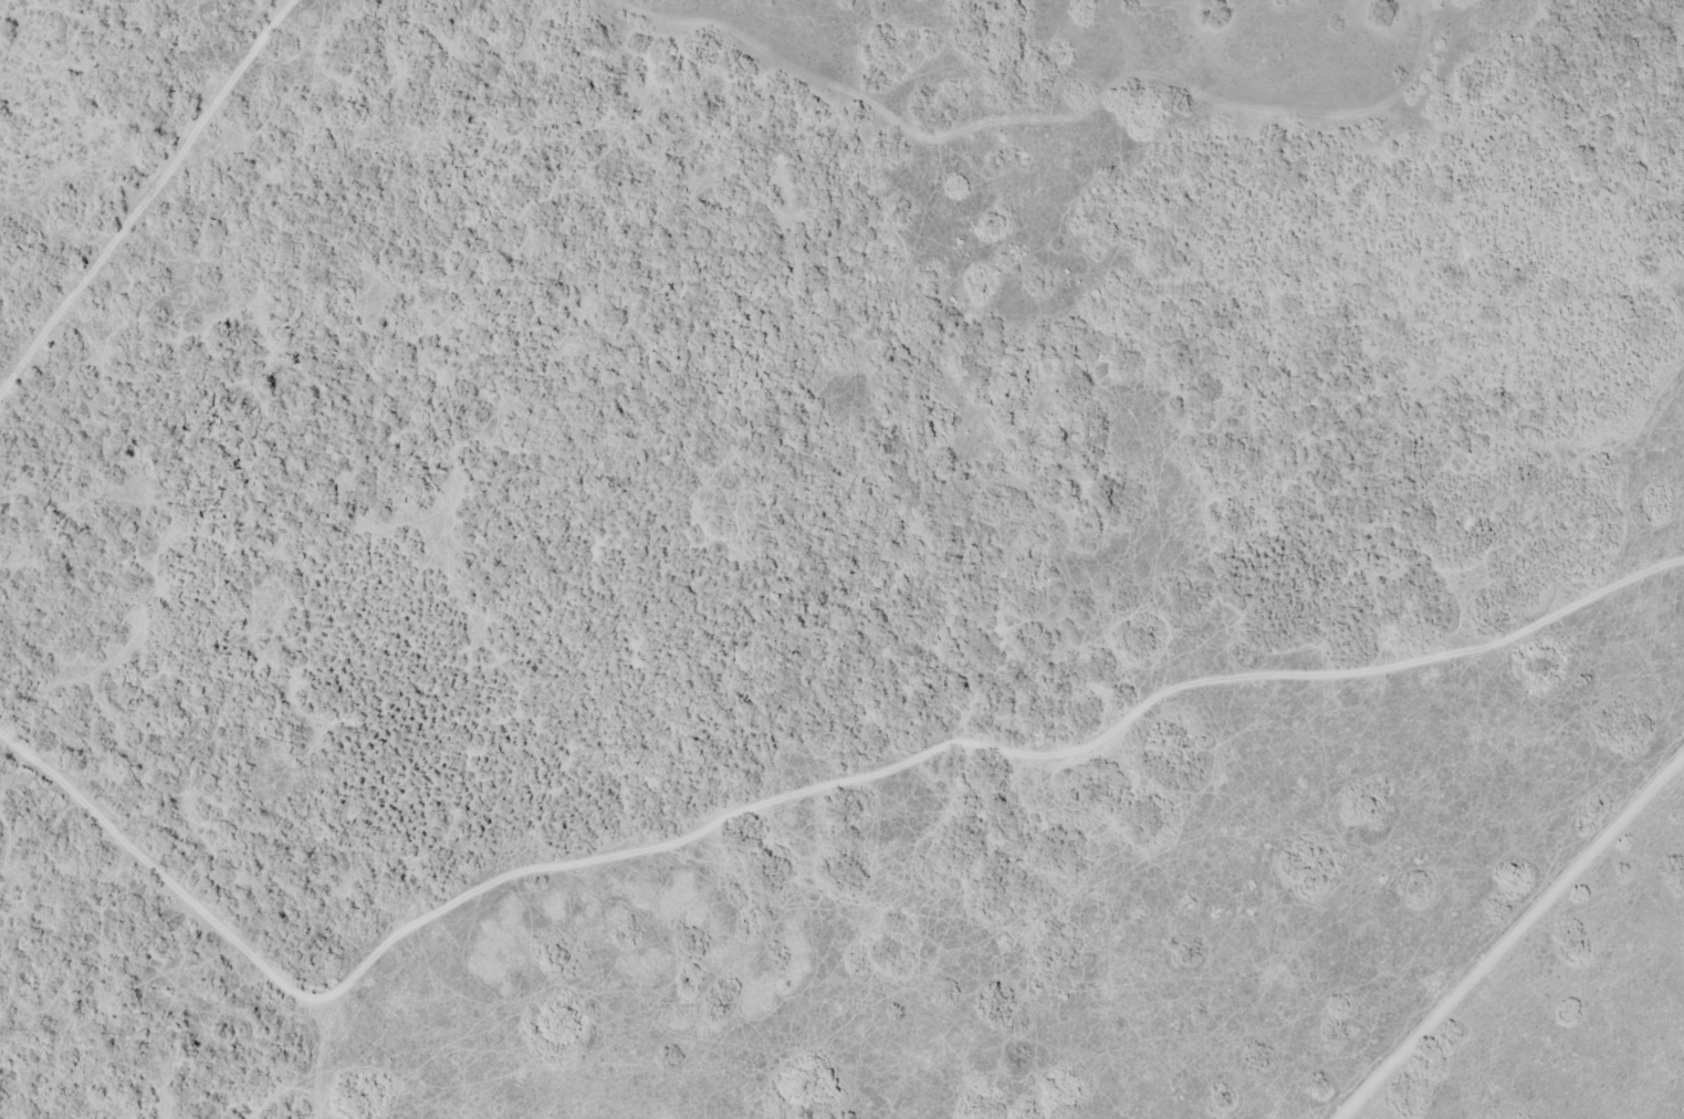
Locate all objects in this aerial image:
road: (934, 760)

